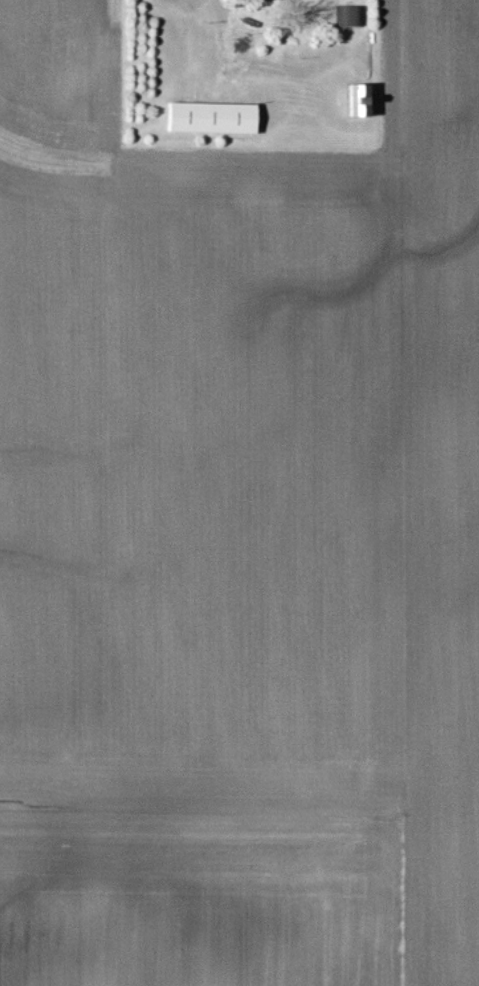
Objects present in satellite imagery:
road: (216, 4)
building: (215, 118)

